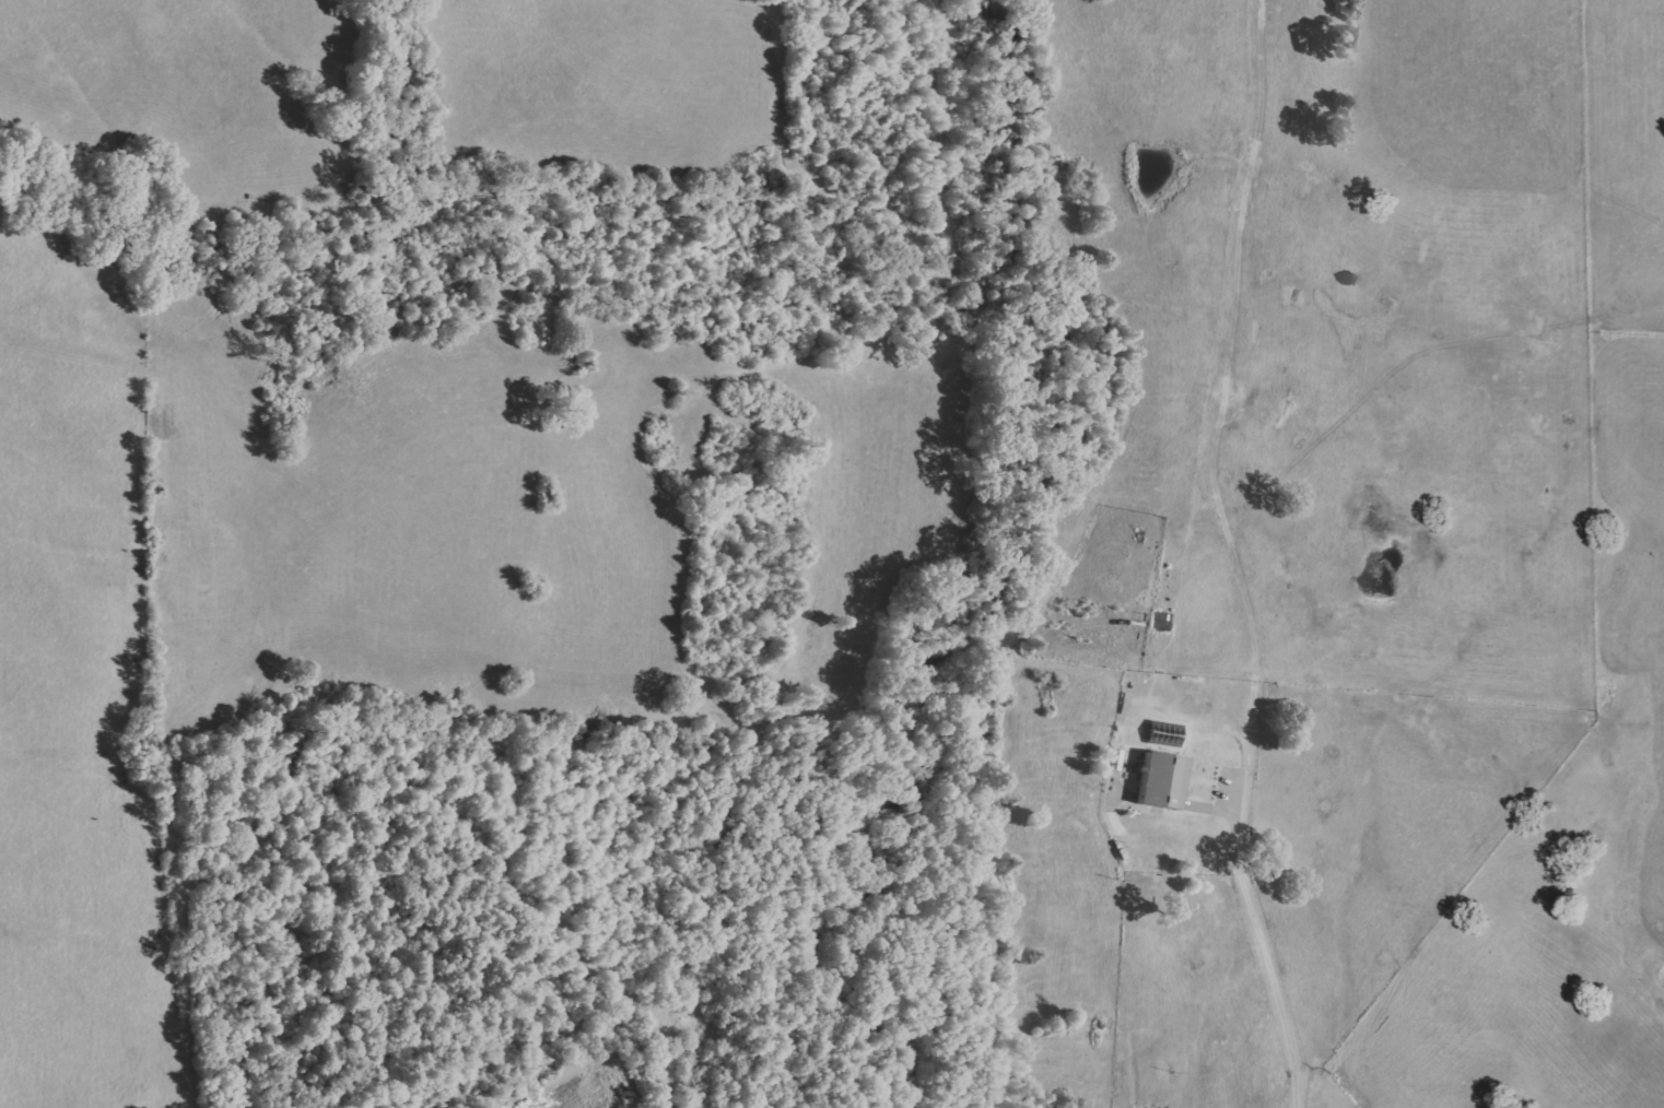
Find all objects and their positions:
building: (1155, 780)

